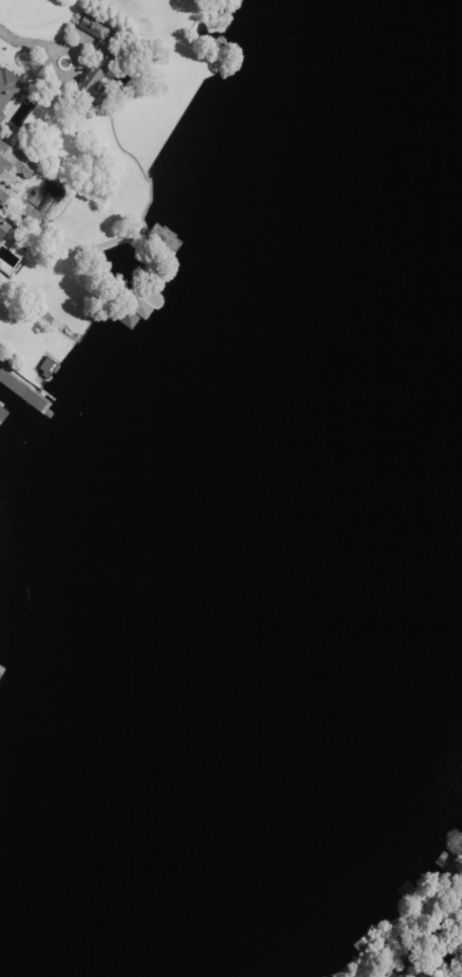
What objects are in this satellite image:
building: (95, 27)
road: (29, 42)
building: (0, 64)
building: (1, 74)
building: (99, 79)
building: (46, 165)
building: (13, 175)
building: (30, 223)
building: (4, 229)
building: (2, 374)
river: (267, 509)
road: (427, 937)

